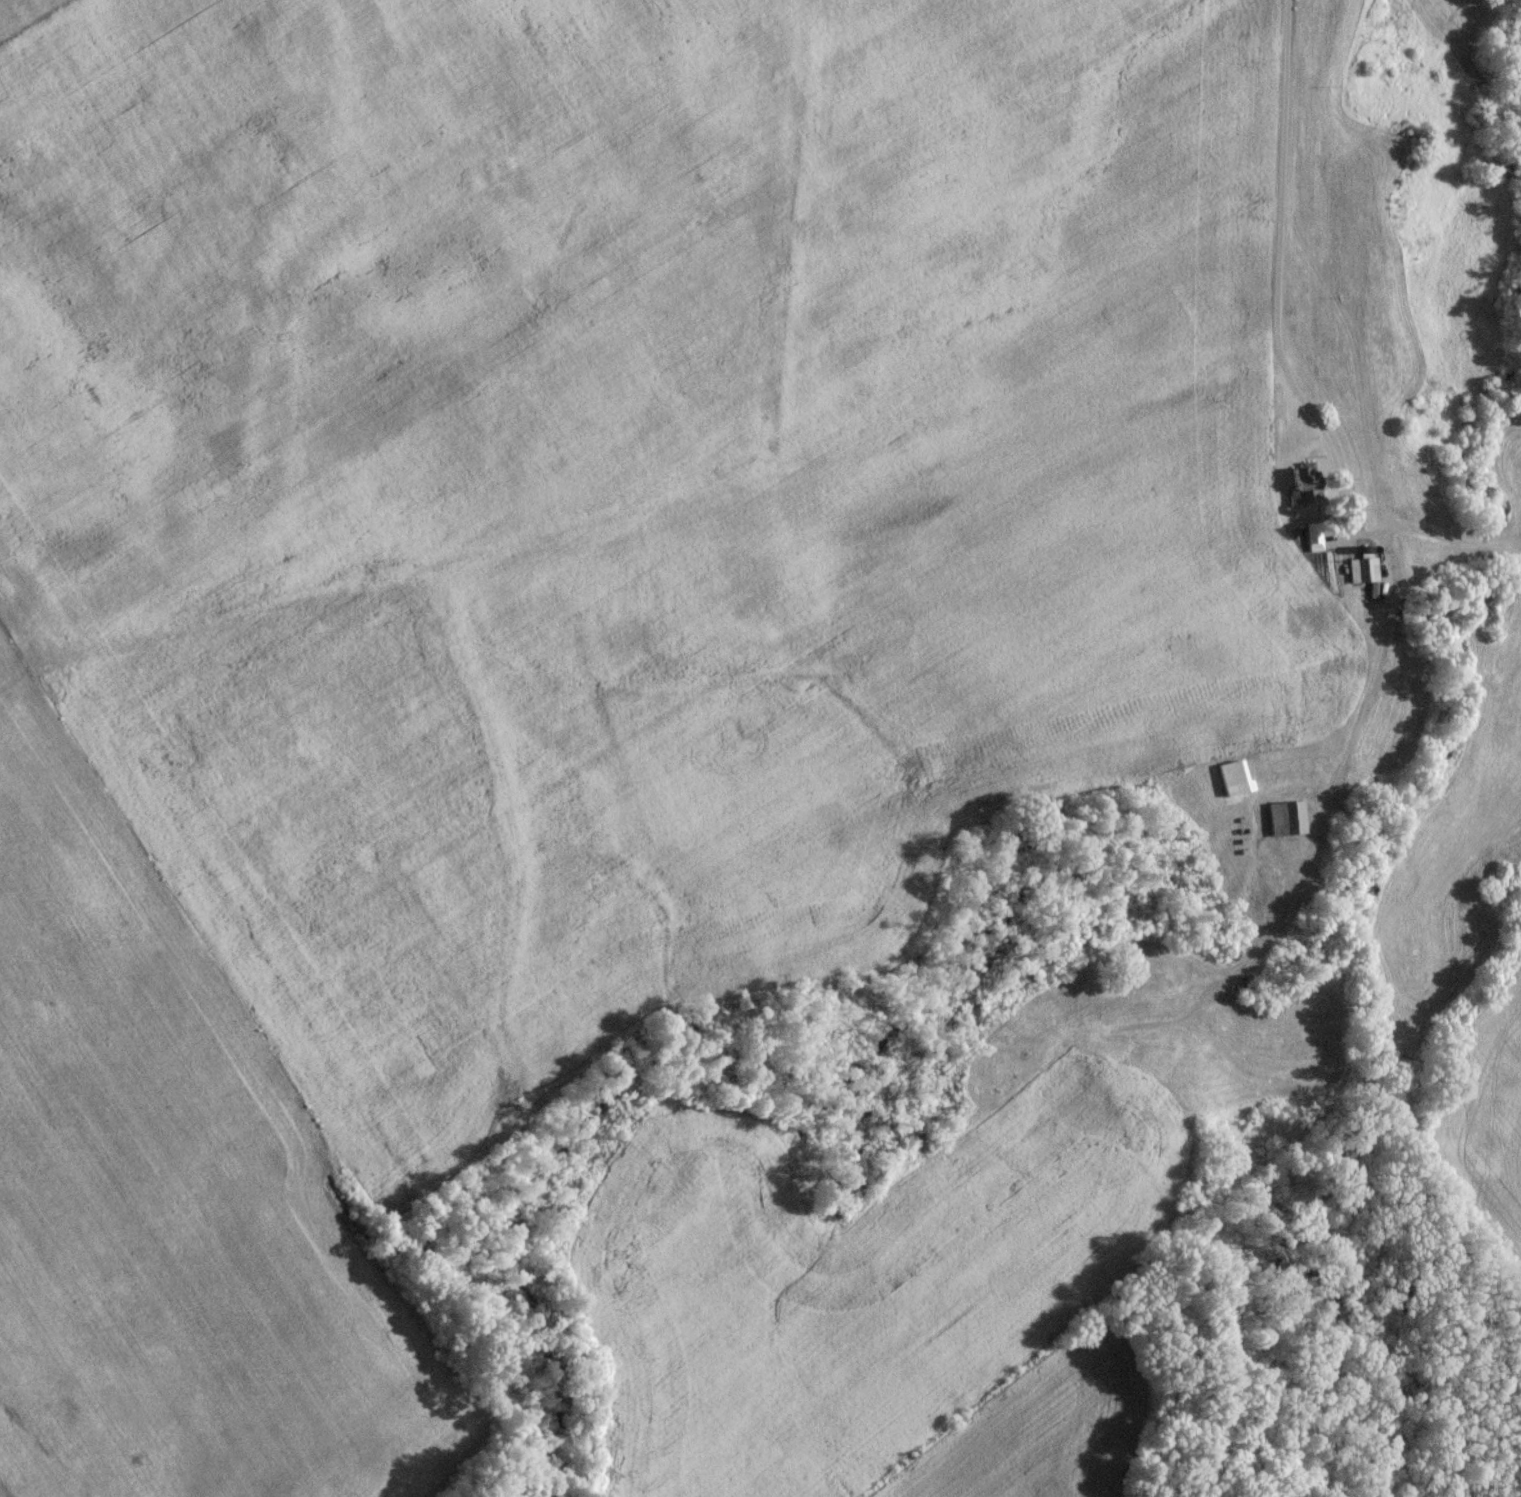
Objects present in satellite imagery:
road: (1277, 280)
building: (1295, 493)
building: (1361, 576)
crop: (555, 602)
building: (1302, 626)
building: (1335, 671)
building: (1230, 784)
building: (1284, 824)
crop: (938, 1253)

